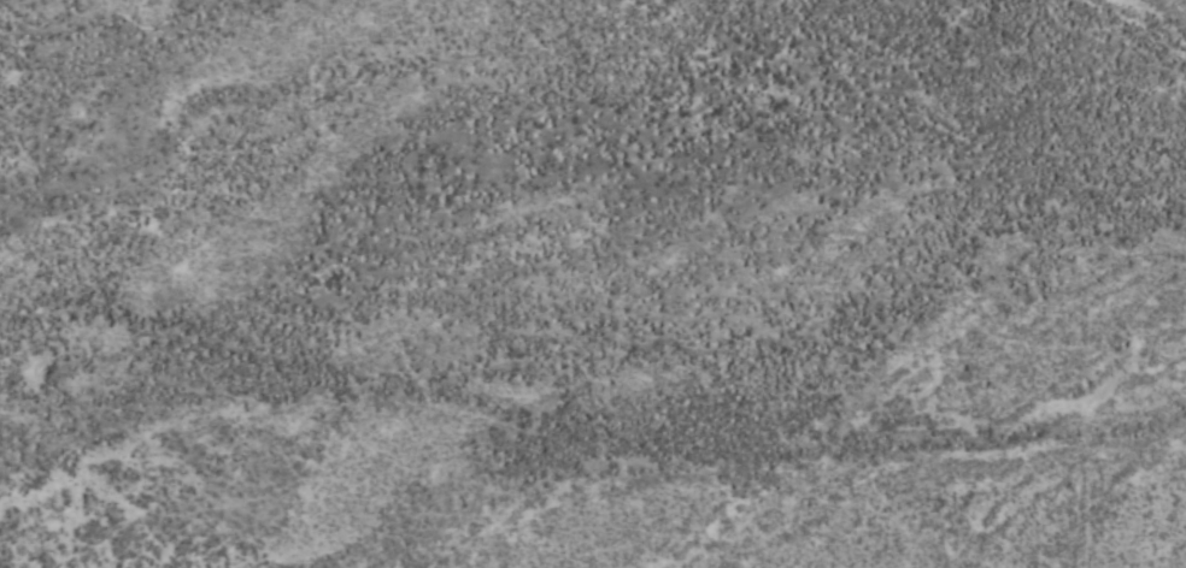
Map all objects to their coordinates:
crop: (593, 284)

